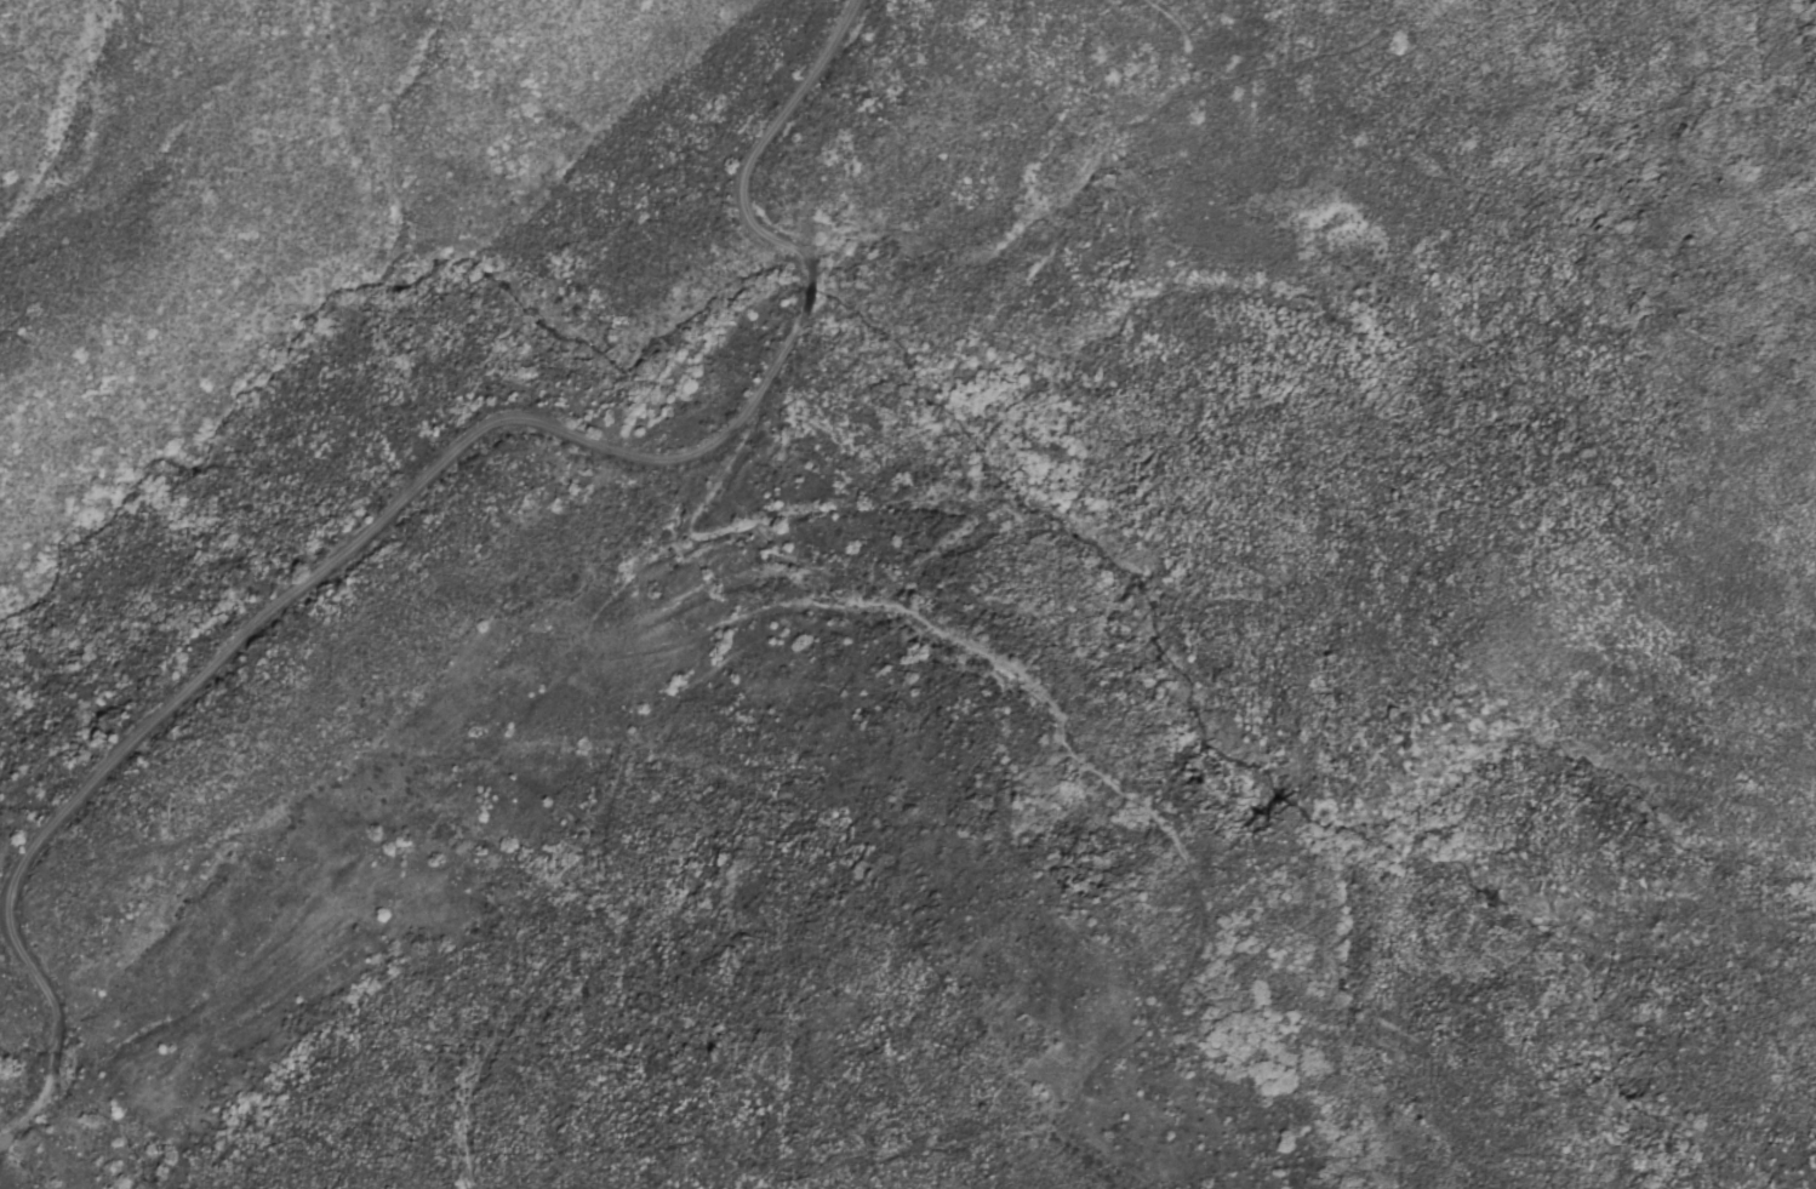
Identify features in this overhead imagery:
road: (550, 425)
road: (992, 661)
road: (45, 1037)

